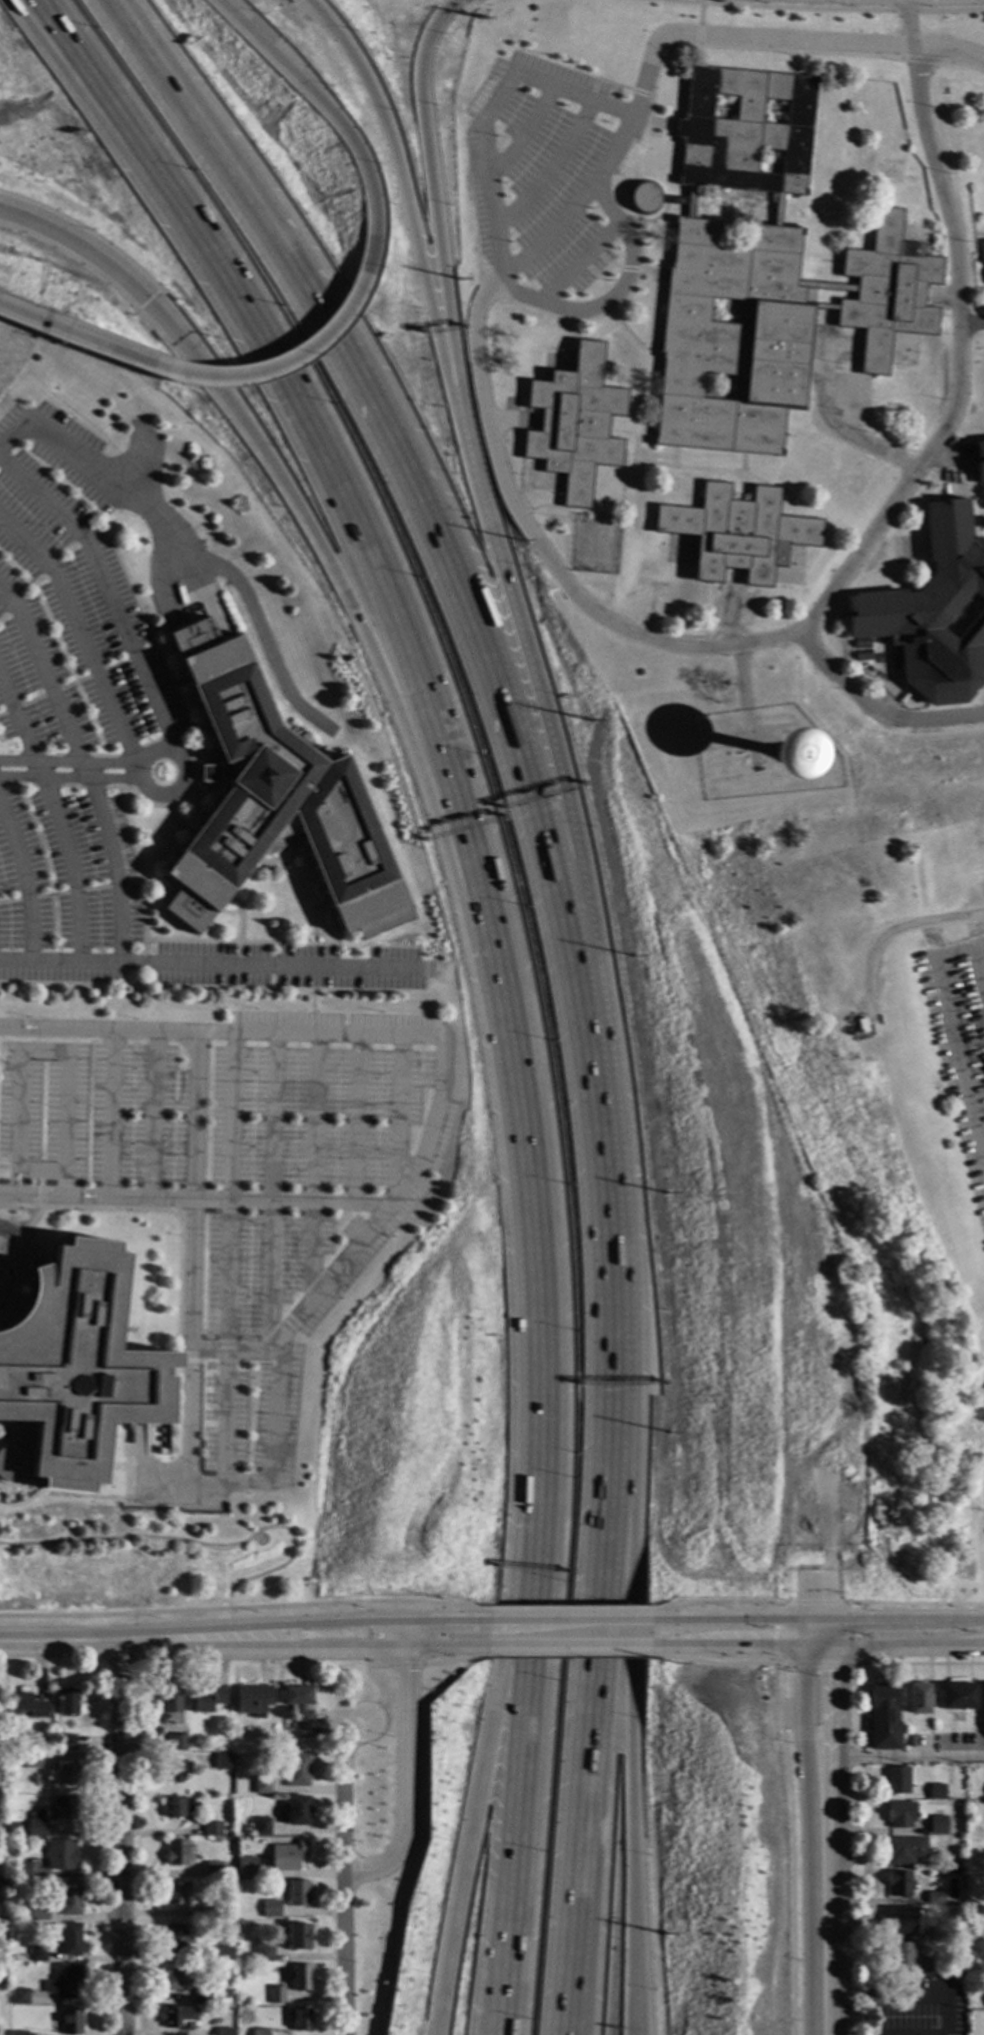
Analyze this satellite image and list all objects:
road: (481, 0)
road: (775, 8)
road: (948, 11)
road: (902, 12)
road: (700, 14)
power tower: (478, 19)
road: (906, 25)
road: (698, 35)
road: (801, 41)
road: (86, 96)
road: (101, 96)
road: (483, 108)
road: (337, 127)
road: (520, 140)
road: (396, 151)
road: (427, 155)
parking lot: (543, 171)
road: (545, 173)
road: (566, 214)
building: (981, 253)
road: (952, 262)
road: (578, 263)
building: (983, 274)
building: (762, 276)
power tower: (459, 280)
road: (614, 294)
traffic signals: (148, 301)
road: (969, 325)
road: (81, 335)
road: (276, 366)
building: (573, 424)
road: (381, 428)
building: (979, 463)
road: (102, 479)
road: (308, 531)
building: (736, 534)
power tower: (519, 541)
road: (859, 551)
road: (371, 553)
road: (559, 575)
parking lot: (73, 588)
road: (106, 591)
road: (513, 609)
building: (932, 613)
road: (80, 633)
road: (43, 676)
road: (878, 705)
power tower: (590, 721)
water tower: (778, 749)
road: (69, 762)
road: (137, 775)
road: (68, 779)
building: (271, 801)
road: (55, 817)
road: (110, 861)
road: (24, 882)
parking lot: (65, 889)
road: (898, 928)
power tower: (634, 957)
road: (210, 964)
parking lot: (291, 965)
road: (312, 1001)
road: (951, 1026)
building: (857, 1027)
road: (443, 1039)
parking lot: (959, 1045)
road: (44, 1055)
parking lot: (43, 1111)
road: (400, 1112)
road: (113, 1113)
road: (154, 1114)
parking lot: (145, 1116)
road: (360, 1119)
road: (606, 1140)
road: (315, 1168)
road: (272, 1188)
power tower: (668, 1193)
road: (196, 1198)
parking lot: (297, 1218)
road: (230, 1258)
road: (541, 1268)
road: (1, 1281)
road: (193, 1285)
building: (72, 1371)
power tower: (672, 1433)
road: (270, 1450)
building: (162, 1453)
road: (203, 1545)
road: (815, 1588)
road: (719, 1603)
road: (913, 1605)
road: (247, 1608)
road: (577, 1608)
road: (809, 1612)
road: (824, 1612)
road: (893, 1620)
road: (572, 1621)
road: (731, 1621)
traffic signals: (869, 1621)
road: (444, 1622)
road: (260, 1627)
road: (365, 1631)
road: (803, 1632)
road: (832, 1633)
road: (404, 1635)
road: (58, 1640)
road: (969, 1642)
traffic signals: (774, 1643)
road: (732, 1644)
road: (818, 1644)
road: (300, 1646)
road: (572, 1646)
road: (907, 1646)
road: (572, 1656)
road: (451, 1660)
road: (789, 1664)
road: (922, 1664)
power tower: (676, 1665)
road: (377, 1666)
road: (404, 1666)
traffic signals: (832, 1671)
road: (377, 1690)
building: (956, 1697)
building: (983, 1697)
building: (207, 1699)
road: (804, 1699)
road: (832, 1699)
building: (918, 1699)
building: (253, 1700)
building: (67, 1704)
building: (299, 1705)
building: (26, 1706)
road: (590, 1707)
road: (631, 1707)
building: (170, 1708)
building: (883, 1717)
building: (906, 1724)
building: (911, 1741)
building: (66, 1742)
building: (176, 1743)
road: (406, 1754)
road: (901, 1759)
building: (31, 1761)
building: (222, 1761)
building: (175, 1769)
building: (296, 1770)
building: (62, 1773)
building: (896, 1781)
building: (261, 1785)
road: (788, 1788)
building: (936, 1792)
building: (176, 1807)
road: (475, 1809)
building: (296, 1810)
road: (522, 1812)
building: (51, 1815)
building: (900, 1815)
building: (937, 1825)
building: (261, 1827)
building: (211, 1828)
building: (13, 1830)
building: (240, 1830)
road: (820, 1830)
road: (118, 1837)
building: (904, 1850)
building: (176, 1853)
building: (61, 1855)
building: (287, 1856)
building: (246, 1866)
building: (927, 1866)
building: (212, 1869)
building: (21, 1870)
road: (370, 1870)
road: (342, 1873)
road: (78, 1875)
building: (900, 1884)
building: (174, 1893)
building: (297, 1894)
building: (70, 1898)
building: (934, 1898)
building: (270, 1909)
building: (980, 1910)
building: (38, 1912)
building: (209, 1912)
building: (900, 1920)
power tower: (665, 1934)
building: (175, 1936)
building: (297, 1936)
building: (69, 1939)
building: (224, 1953)
building: (263, 1953)
building: (37, 1954)
building: (899, 1955)
building: (959, 1965)
building: (927, 1967)
road: (823, 1971)
building: (299, 1977)
building: (172, 1980)
building: (64, 1981)
building: (275, 1995)
building: (18, 1996)
building: (200, 1996)
road: (874, 1997)
building: (177, 2018)
building: (299, 2018)
building: (70, 2021)
building: (223, 2032)
building: (260, 2032)
building: (16, 2033)

